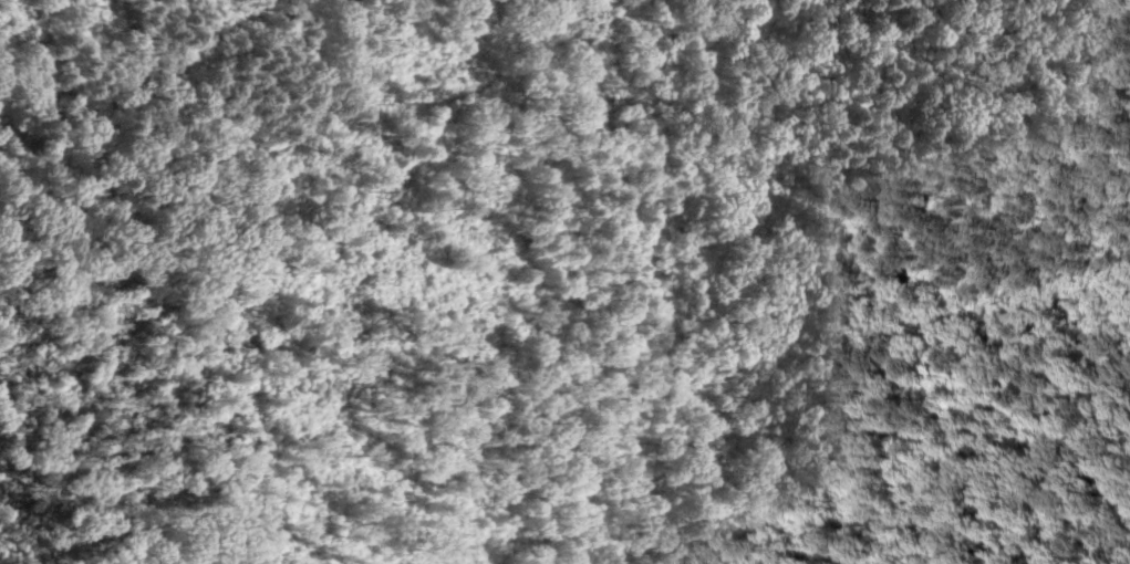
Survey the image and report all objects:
road: (653, 282)

